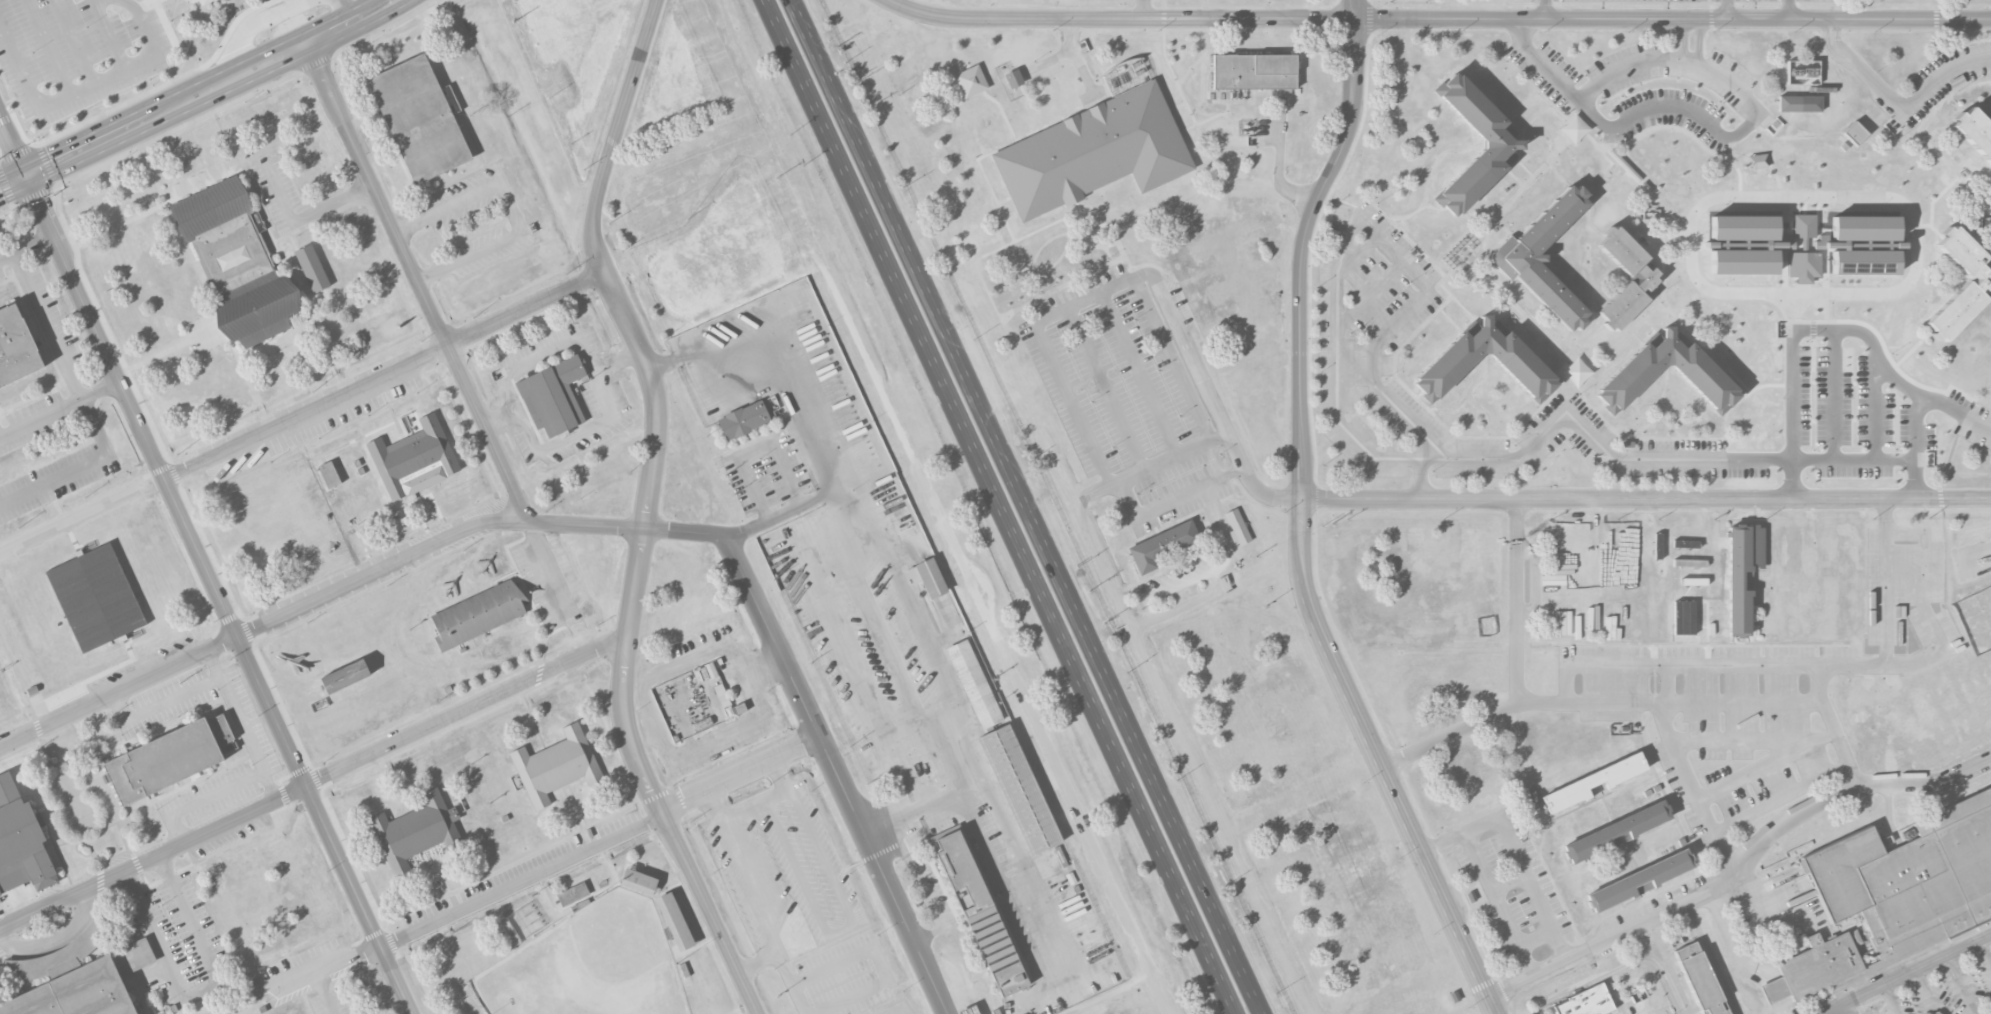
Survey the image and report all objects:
parking lot: (1698, 0)
road: (148, 3)
road: (1144, 10)
road: (1545, 11)
road: (1727, 11)
road: (1789, 11)
road: (945, 17)
road: (1497, 22)
road: (166, 26)
road: (1913, 29)
road: (1755, 30)
road: (1832, 33)
road: (109, 34)
road: (1837, 39)
road: (1684, 41)
road: (1826, 41)
road: (73, 42)
road: (1699, 43)
road: (48, 47)
parking lot: (76, 52)
road: (1061, 55)
road: (1510, 62)
building: (1255, 70)
road: (1083, 71)
building: (1014, 78)
building: (971, 80)
parking lot: (1942, 80)
road: (1601, 85)
road: (86, 87)
parking lot: (1650, 90)
road: (1947, 93)
road: (146, 94)
road: (200, 98)
building: (1800, 103)
road: (1912, 103)
road: (1522, 105)
road: (219, 109)
road: (1696, 115)
building: (419, 119)
road: (1532, 120)
road: (1576, 126)
road: (1677, 128)
building: (1976, 129)
building: (1855, 132)
road: (1841, 135)
road: (617, 137)
building: (1504, 142)
building: (1095, 152)
building: (1757, 161)
road: (46, 165)
road: (1523, 167)
road: (1279, 168)
road: (1435, 170)
road: (1611, 171)
road: (1557, 174)
road: (1957, 174)
road: (1514, 177)
traffic signals: (29, 180)
road: (1983, 189)
road: (6, 190)
parking lot: (281, 193)
road: (1645, 193)
road: (1975, 195)
road: (463, 197)
road: (1803, 197)
road: (1592, 202)
road: (1589, 204)
road: (1379, 209)
road: (512, 210)
road: (304, 219)
road: (409, 221)
building: (1804, 225)
building: (1743, 226)
building: (1865, 227)
road: (1932, 227)
road: (1504, 228)
road: (1906, 234)
road: (1405, 236)
road: (27, 247)
road: (479, 251)
road: (1361, 255)
building: (1545, 256)
road: (1552, 256)
building: (1743, 260)
building: (235, 261)
building: (1865, 261)
building: (1804, 266)
building: (312, 268)
parking lot: (2, 273)
road: (432, 273)
building: (1642, 277)
building: (1977, 284)
road: (1990, 292)
road: (1374, 295)
road: (1656, 296)
road: (1826, 308)
road: (1465, 310)
road: (529, 312)
road: (1506, 313)
road: (1674, 314)
parking lot: (52, 320)
road: (1450, 320)
road: (1852, 321)
road: (1516, 323)
road: (1652, 325)
road: (47, 326)
road: (1684, 330)
road: (1562, 336)
road: (1638, 337)
road: (1584, 338)
parking lot: (1831, 338)
road: (1045, 342)
road: (1619, 343)
building: (16, 347)
road: (176, 348)
road: (547, 348)
road: (119, 355)
road: (1172, 360)
road: (1574, 363)
building: (1449, 365)
road: (1139, 375)
building: (1703, 376)
road: (1893, 377)
road: (1919, 384)
road: (1561, 385)
road: (1341, 389)
road: (1106, 390)
road: (604, 392)
parking lot: (1135, 394)
road: (1419, 394)
road: (1469, 395)
road: (1833, 395)
building: (552, 396)
road: (658, 397)
road: (1214, 405)
road: (60, 407)
road: (798, 408)
road: (1452, 408)
road: (1876, 409)
road: (1957, 412)
road: (309, 414)
road: (1726, 414)
parking lot: (34, 420)
building: (743, 420)
road: (1629, 429)
road: (527, 430)
road: (577, 435)
road: (1662, 439)
building: (415, 459)
road: (78, 465)
building: (329, 474)
road: (1425, 481)
road: (1645, 499)
road: (1173, 501)
road: (1001, 506)
road: (1029, 507)
road: (1300, 522)
road: (61, 526)
building: (1238, 527)
road: (627, 528)
road: (1086, 532)
road: (1224, 541)
building: (1162, 545)
road: (954, 548)
road: (208, 565)
building: (1743, 573)
building: (928, 578)
parking lot: (1179, 579)
road: (1539, 583)
road: (1889, 585)
road: (1168, 589)
building: (95, 597)
parking lot: (1907, 598)
road: (1519, 603)
road: (1174, 609)
building: (1685, 613)
building: (477, 615)
road: (263, 628)
road: (1827, 668)
building: (344, 676)
road: (23, 678)
building: (973, 684)
road: (1600, 703)
road: (159, 704)
building: (738, 709)
parking lot: (1725, 713)
building: (703, 724)
road: (242, 727)
road: (1837, 727)
road: (1759, 741)
parking lot: (258, 748)
building: (169, 757)
building: (555, 766)
road: (1771, 767)
road: (1689, 770)
road: (649, 780)
road: (314, 782)
building: (1594, 782)
building: (1018, 789)
road: (770, 796)
road: (1784, 799)
road: (202, 800)
building: (1617, 831)
building: (416, 832)
building: (21, 842)
road: (1515, 853)
road: (1738, 864)
road: (542, 868)
building: (1640, 880)
road: (1004, 881)
building: (638, 882)
road: (1508, 882)
road: (753, 891)
parking lot: (1513, 892)
building: (1897, 892)
road: (1499, 904)
building: (978, 908)
building: (675, 922)
road: (839, 929)
road: (1535, 938)
road: (1985, 952)
park: (584, 965)
road: (1618, 969)
building: (80, 973)
road: (1908, 973)
parking lot: (1939, 979)
building: (1699, 980)
road: (1960, 984)
road: (200, 991)
road: (328, 991)
road: (1925, 992)
road: (1891, 999)
parking lot: (328, 1000)
building: (1587, 1002)
road: (239, 1004)
parking lot: (1647, 1007)
road: (1850, 1008)
building: (969, 1010)

